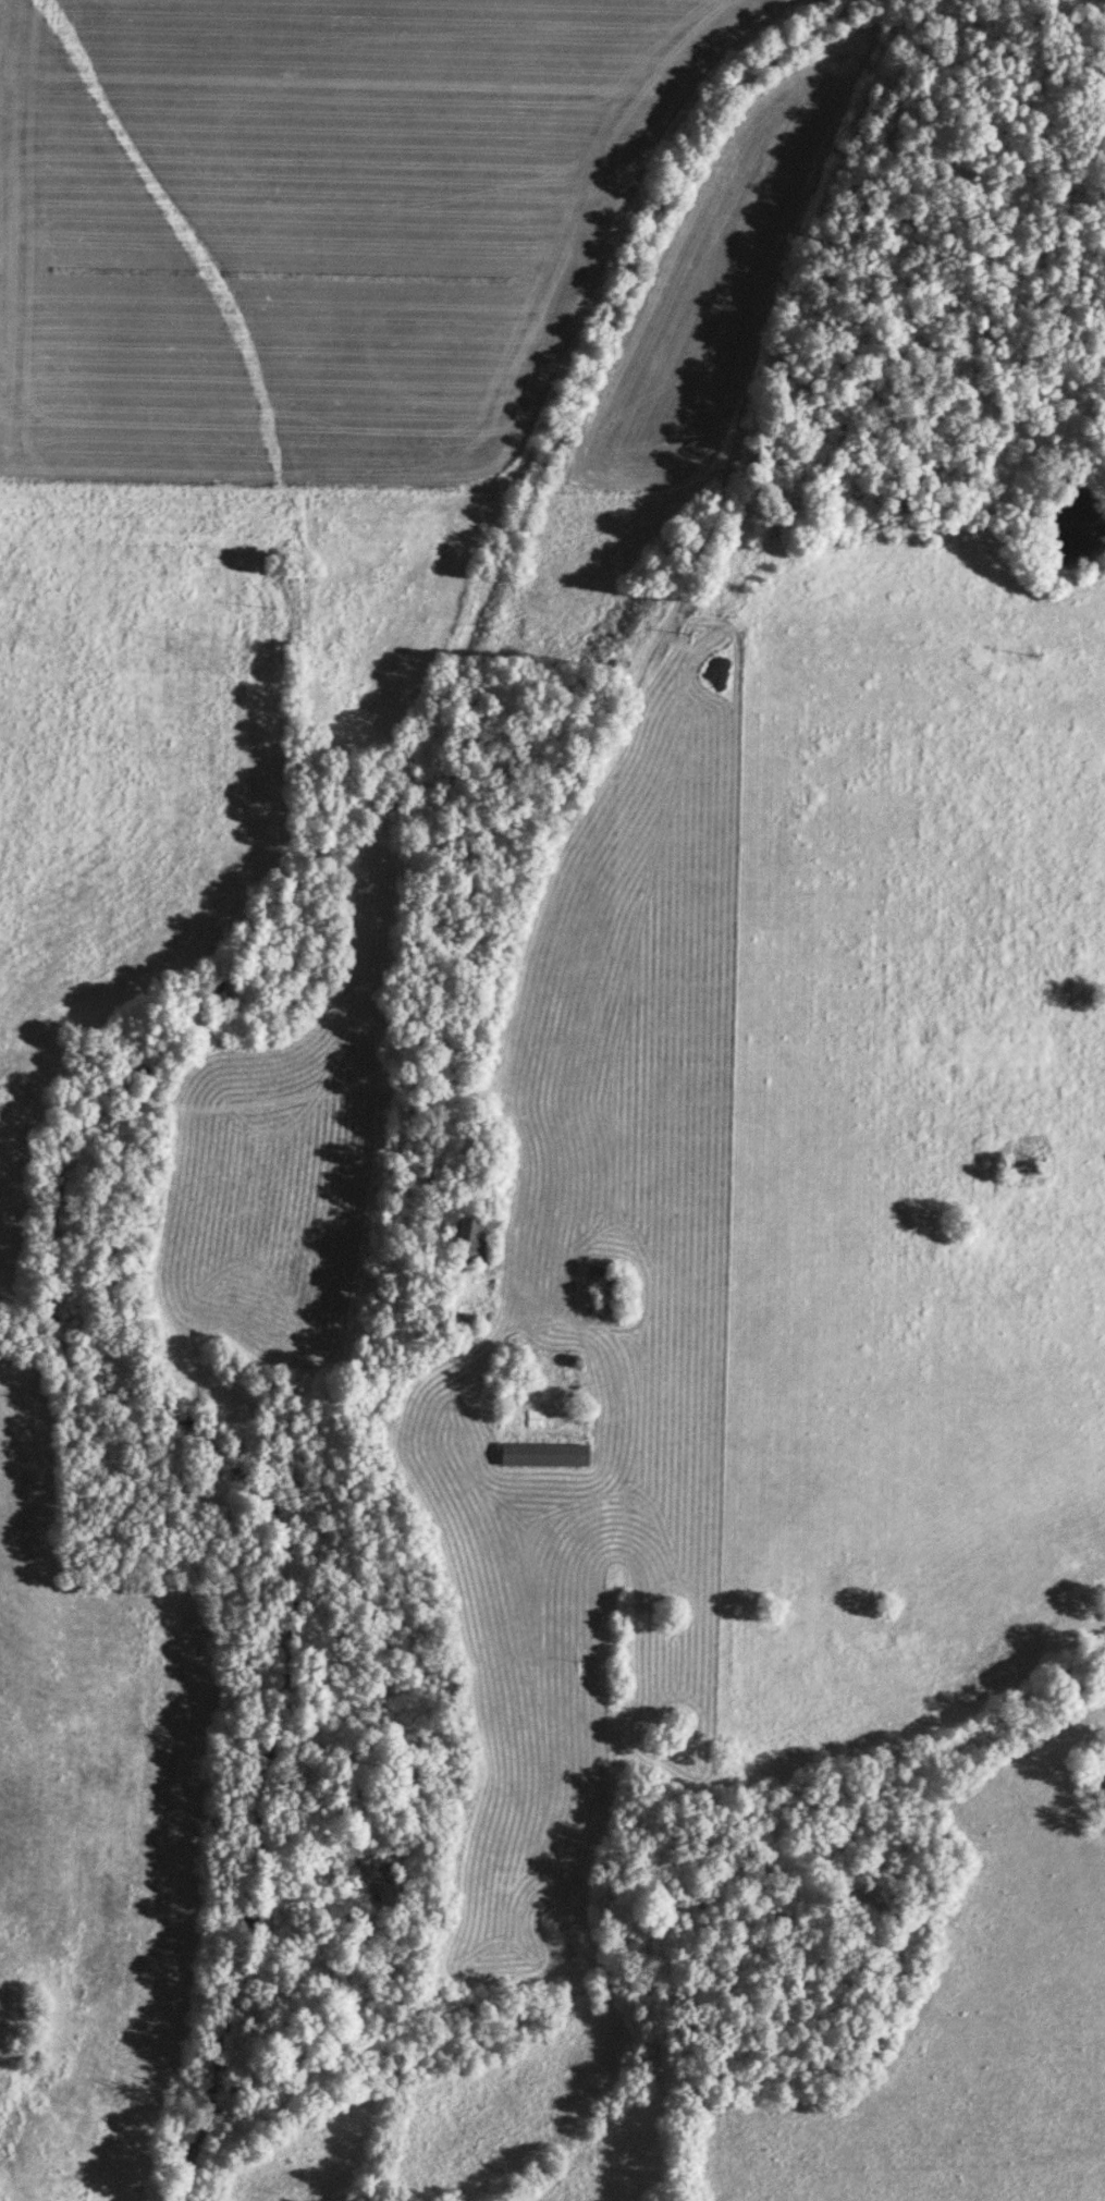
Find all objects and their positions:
road: (660, 631)
building: (604, 1291)
building: (470, 1320)
building: (544, 1453)

